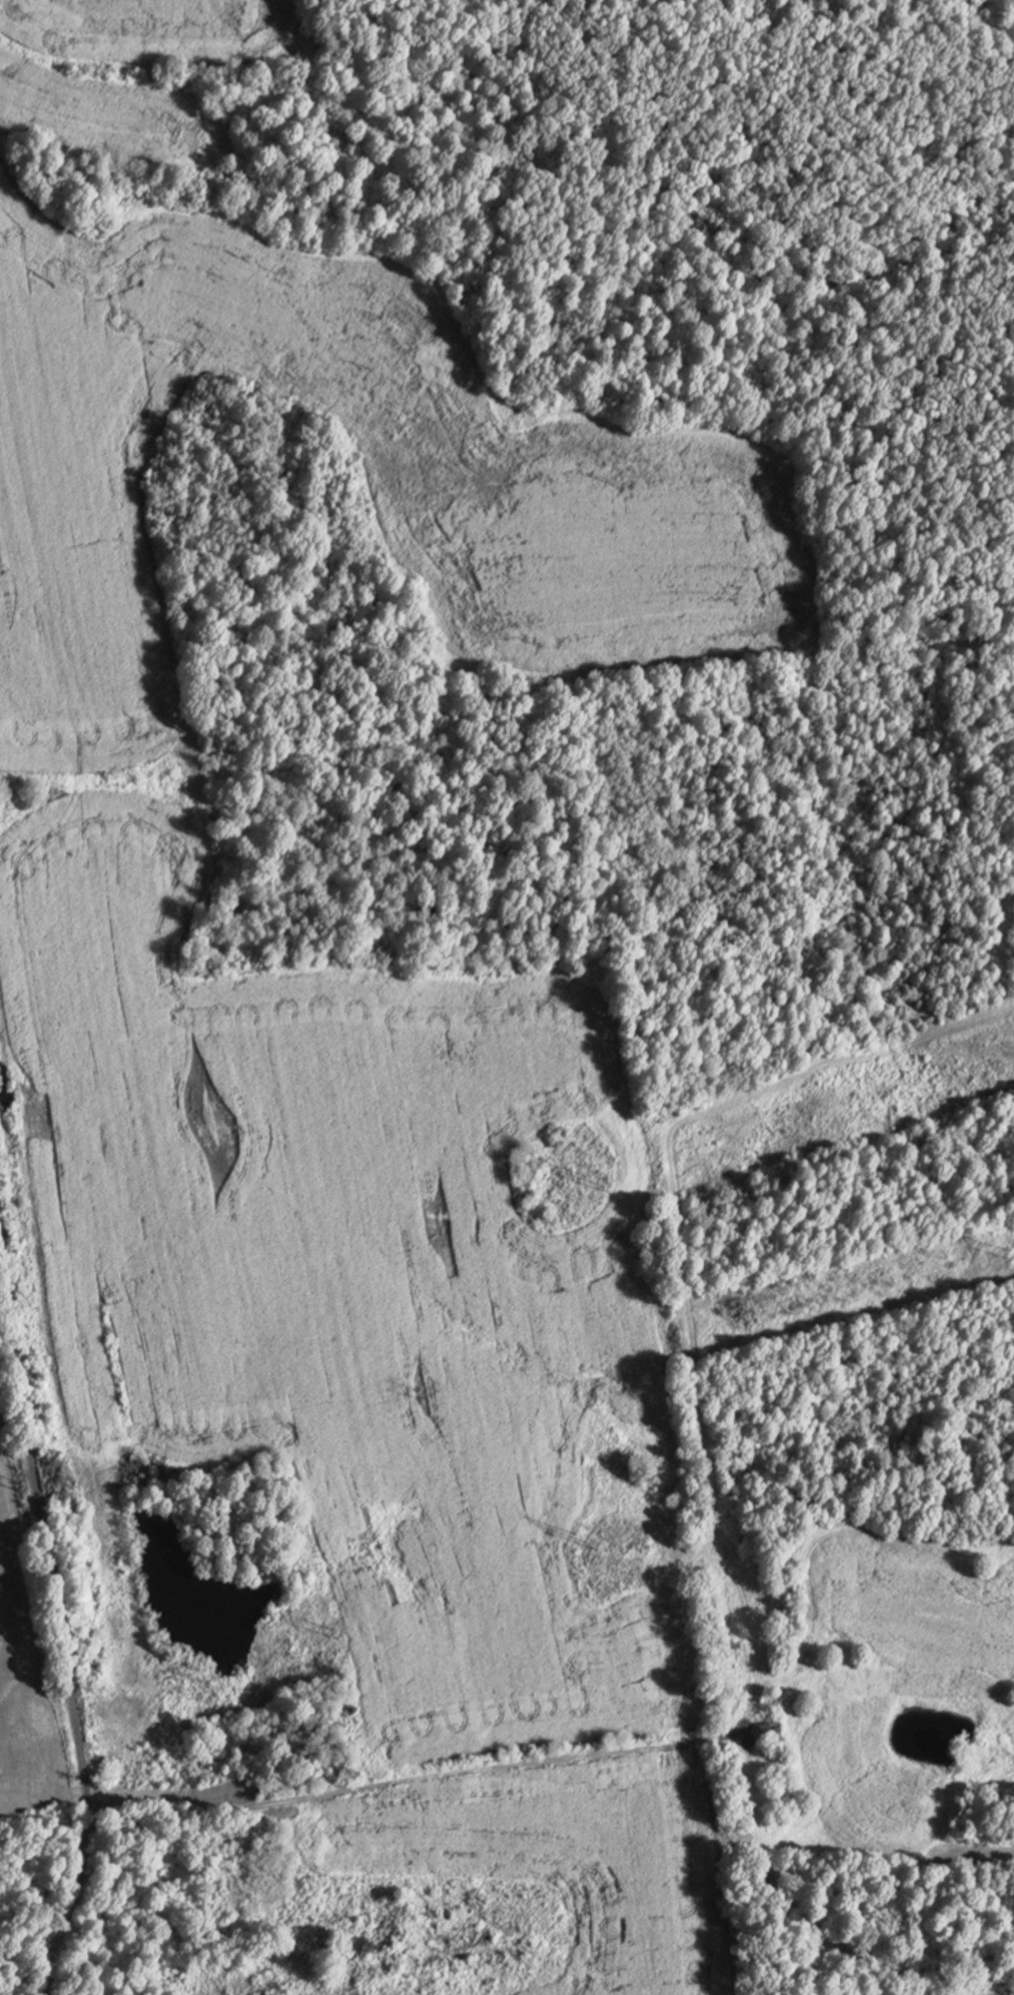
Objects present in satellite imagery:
road: (47, 1566)
building: (766, 1735)

